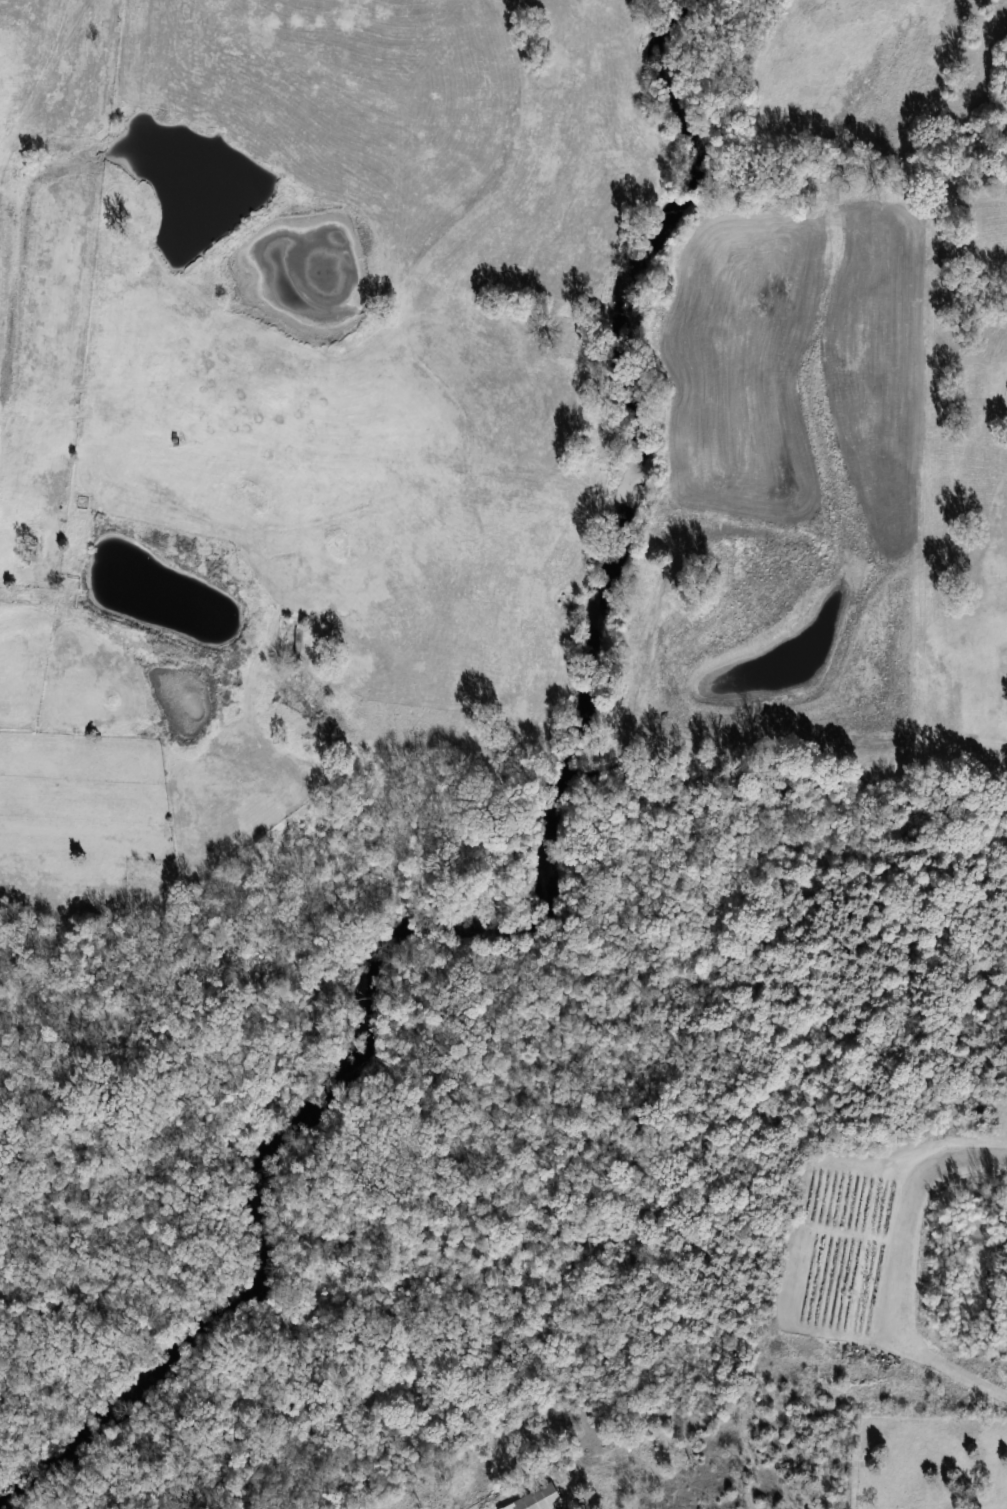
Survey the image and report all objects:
building: (61, 504)
building: (538, 1499)

